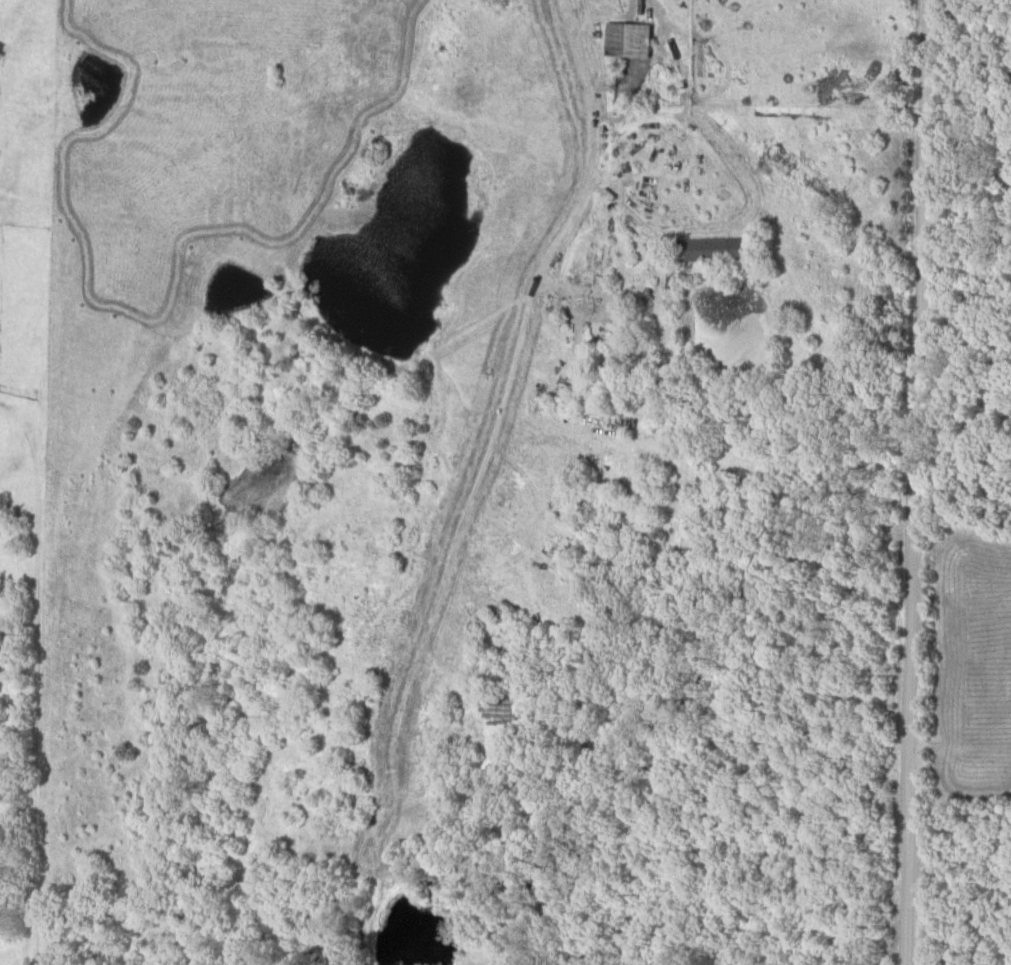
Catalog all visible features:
building: (631, 41)
road: (685, 96)
road: (593, 167)
building: (721, 251)
road: (916, 482)

